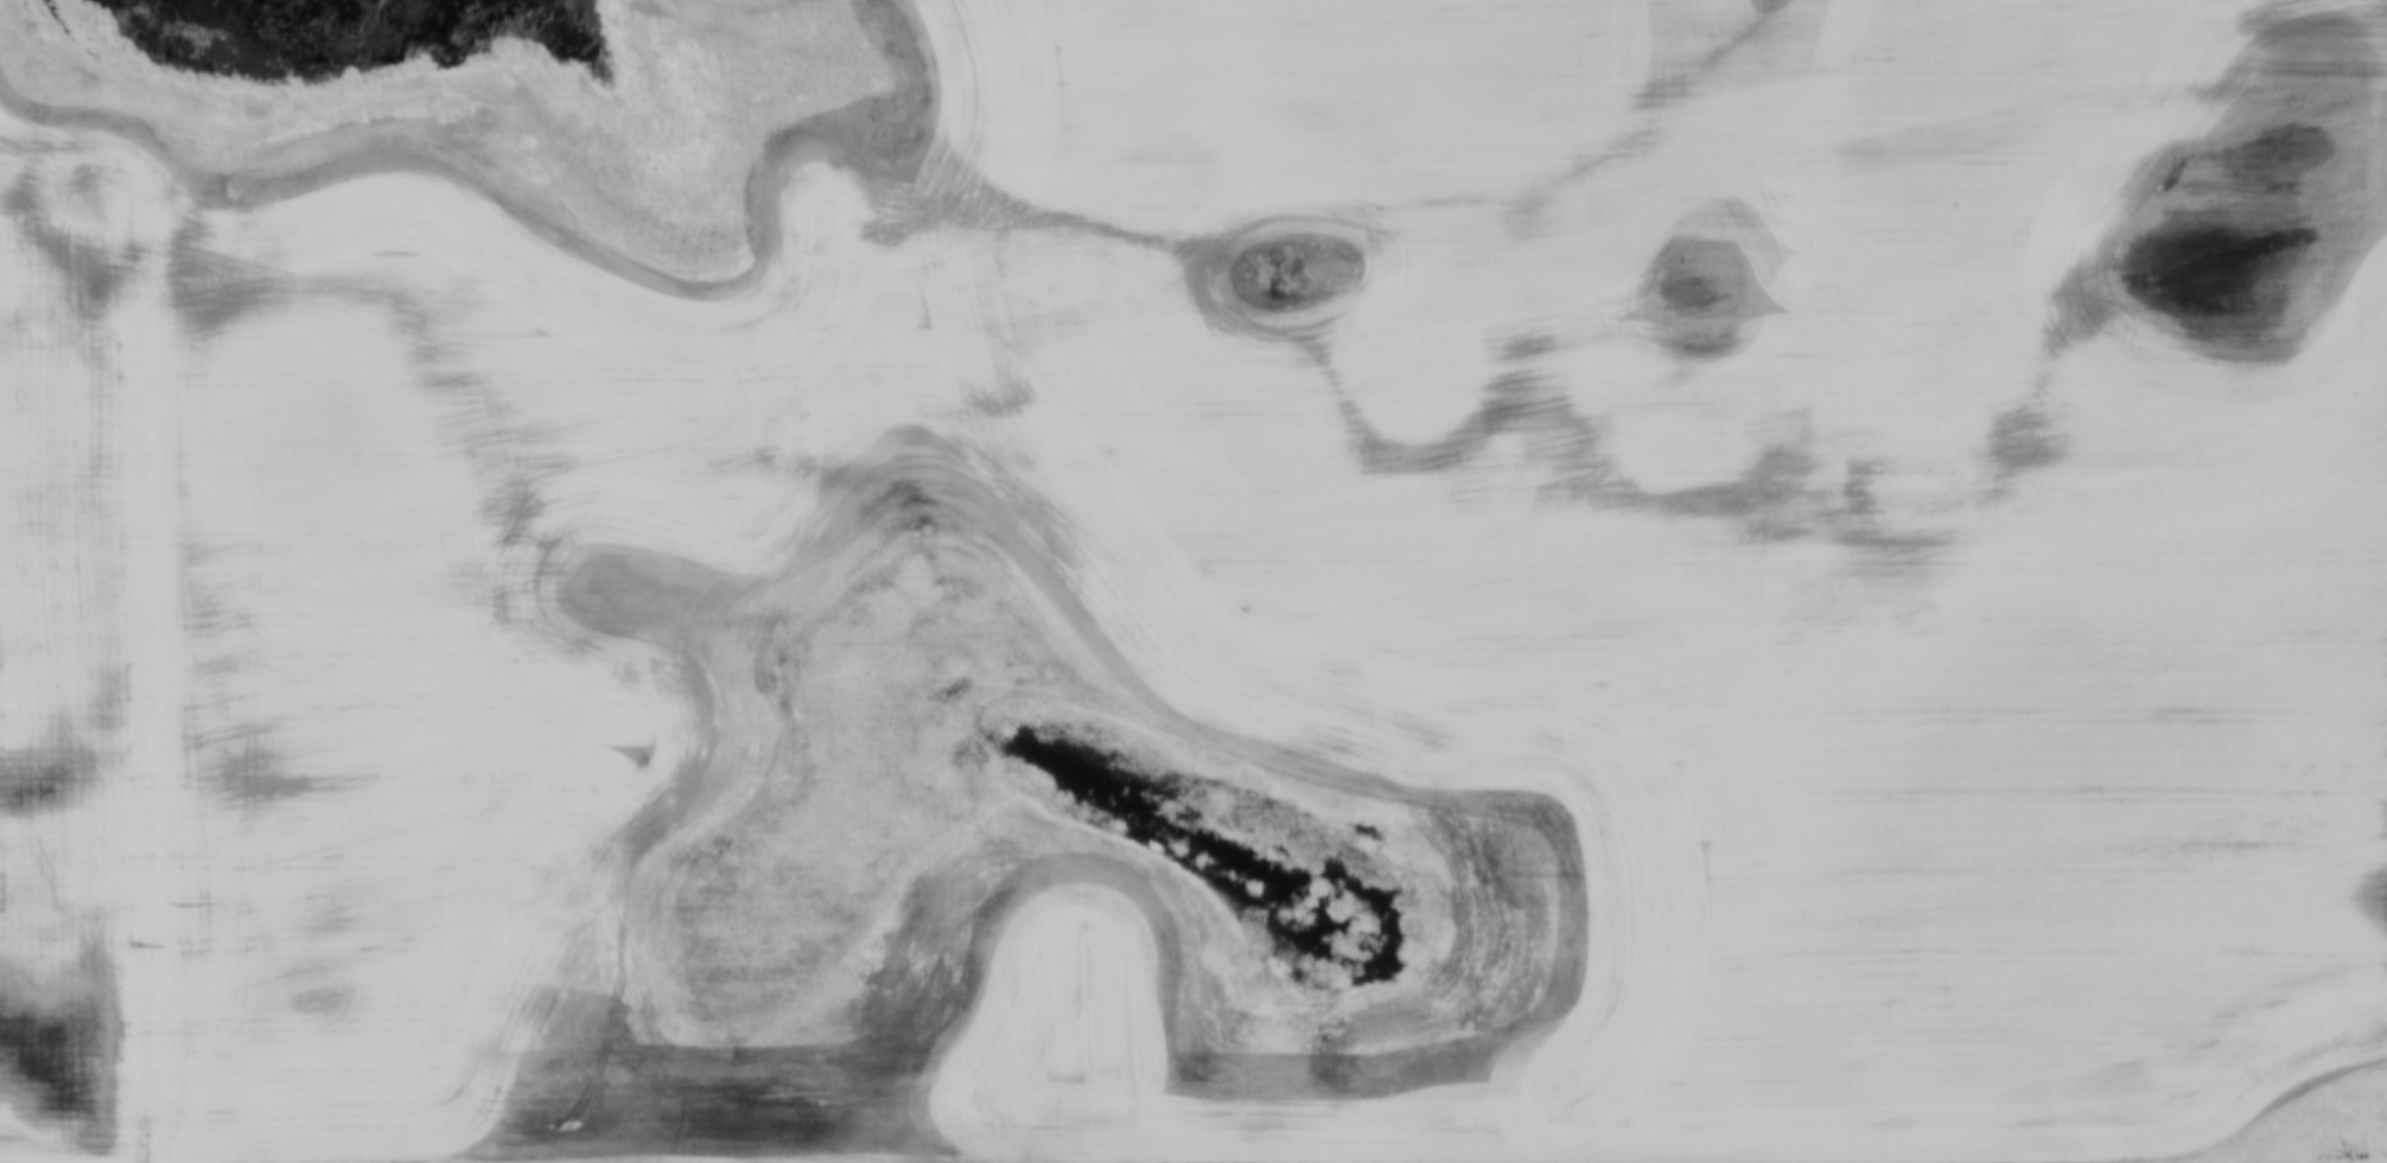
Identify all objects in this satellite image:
road: (134, 253)

